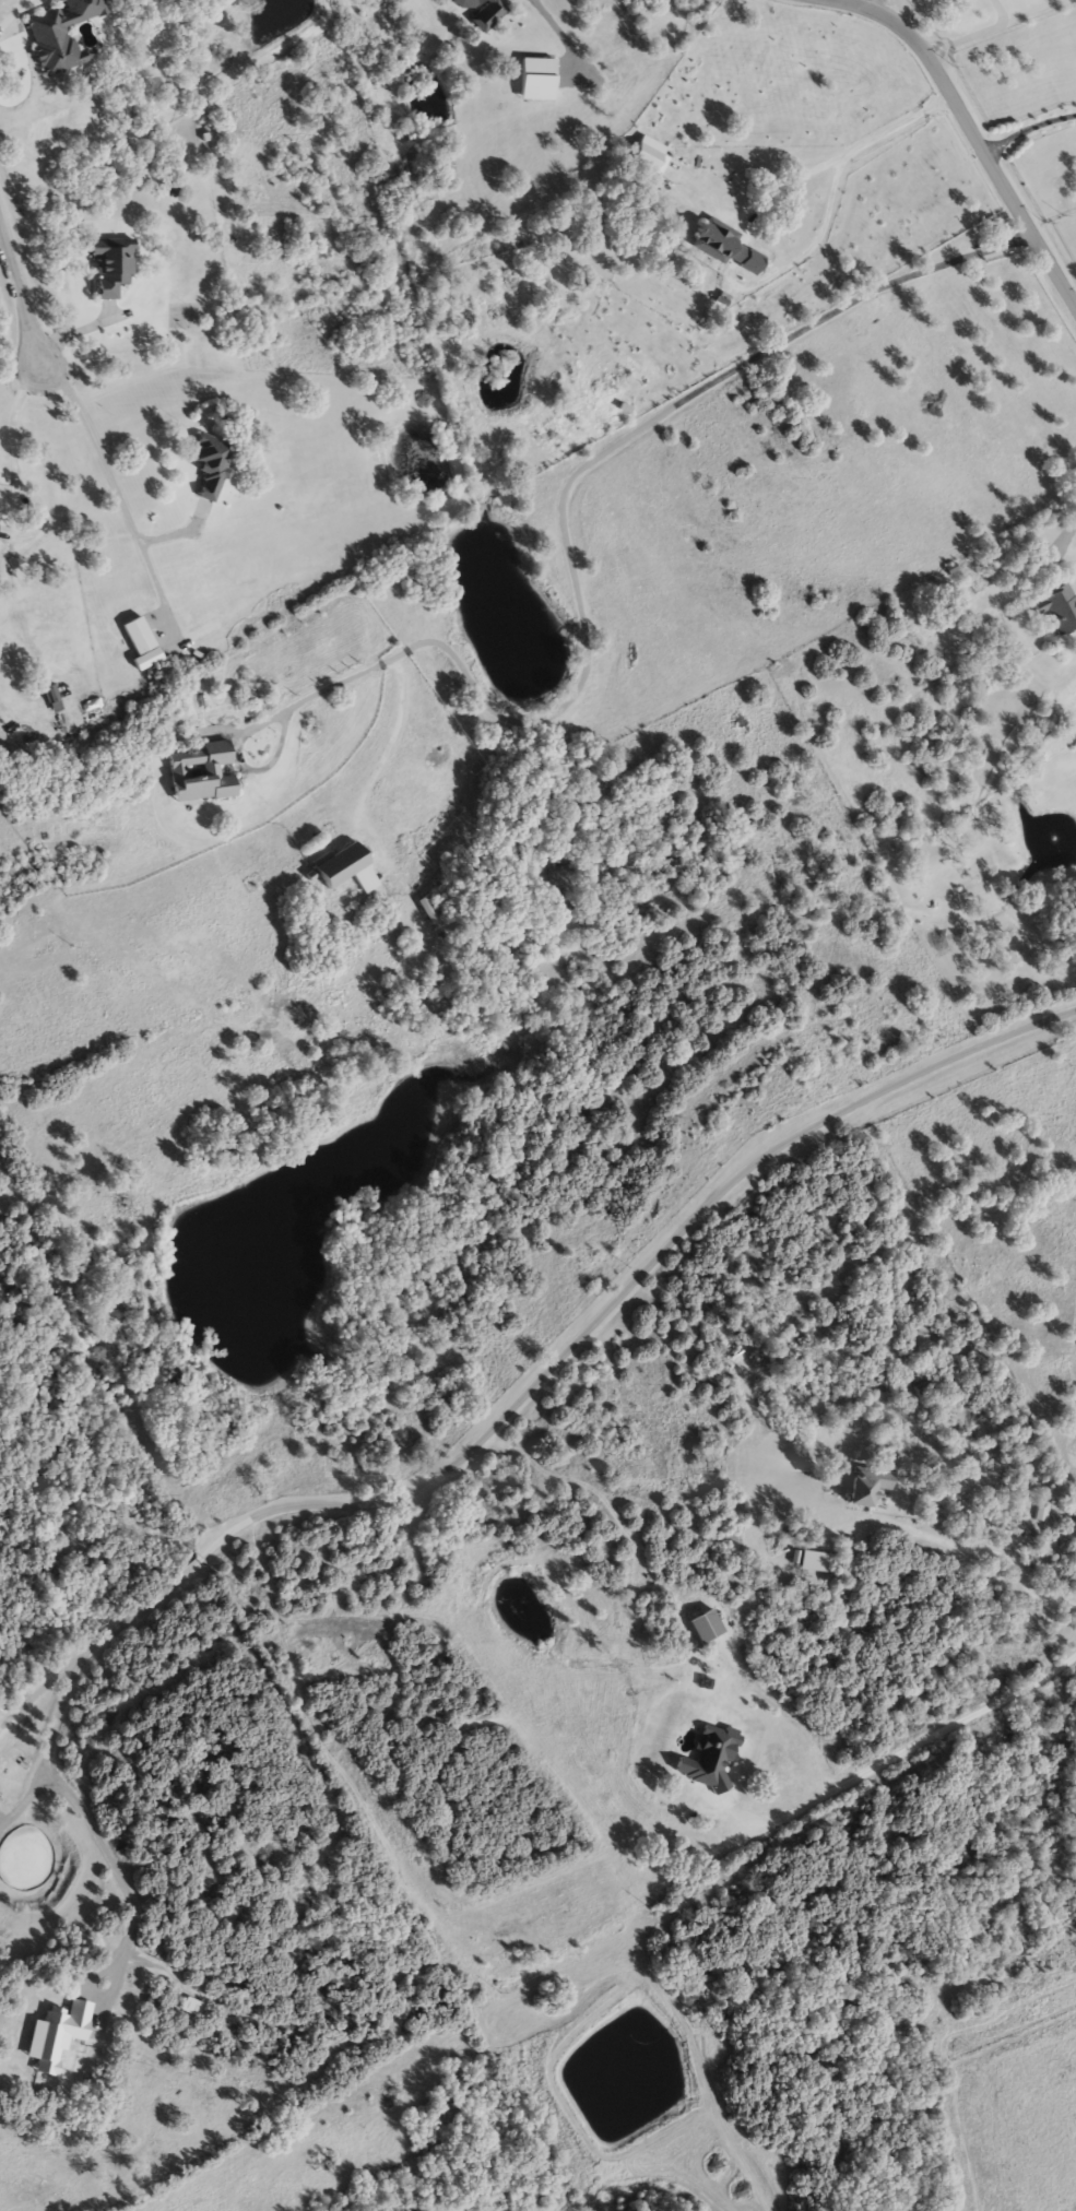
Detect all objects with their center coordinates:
road: (866, 2)
road: (976, 35)
building: (55, 44)
building: (542, 81)
road: (1027, 129)
road: (972, 133)
road: (837, 162)
road: (1, 240)
building: (722, 248)
building: (118, 263)
road: (20, 297)
road: (13, 424)
road: (109, 466)
building: (215, 468)
building: (1, 507)
road: (560, 523)
road: (1067, 532)
building: (1043, 534)
building: (1055, 610)
building: (145, 643)
road: (400, 740)
building: (206, 775)
building: (350, 868)
building: (435, 913)
road: (536, 1371)
building: (859, 1486)
building: (1037, 1515)
road: (977, 1549)
building: (812, 1562)
road: (912, 1747)
road: (25, 1789)
road: (80, 1817)
building: (197, 2009)
building: (61, 2038)

